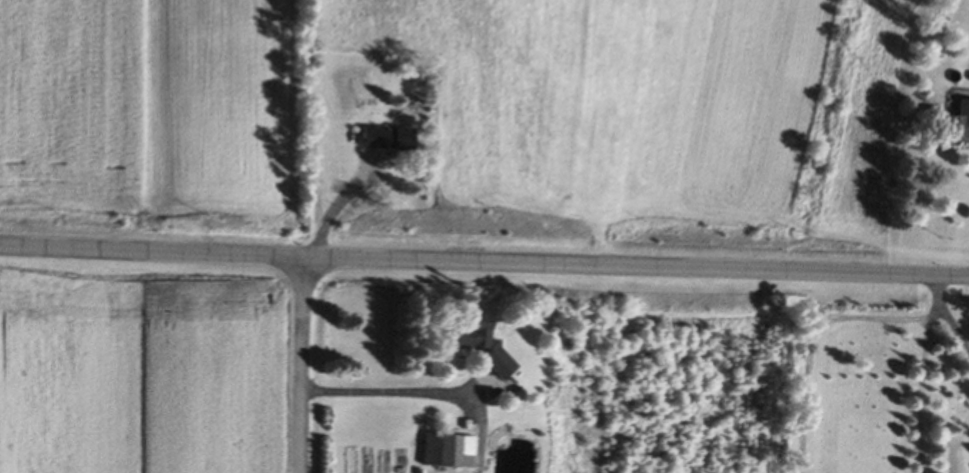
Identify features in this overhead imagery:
building: (952, 124)
building: (382, 139)
road: (484, 264)
road: (946, 316)
building: (470, 343)
road: (301, 365)
road: (421, 396)
building: (442, 452)

